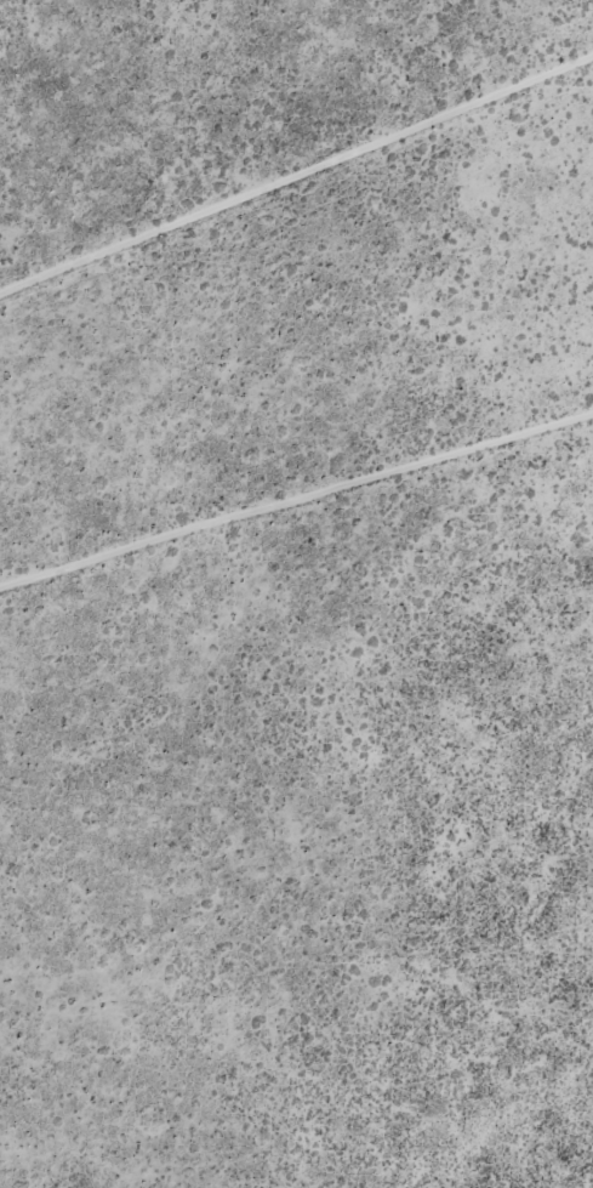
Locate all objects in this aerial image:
road: (296, 160)

